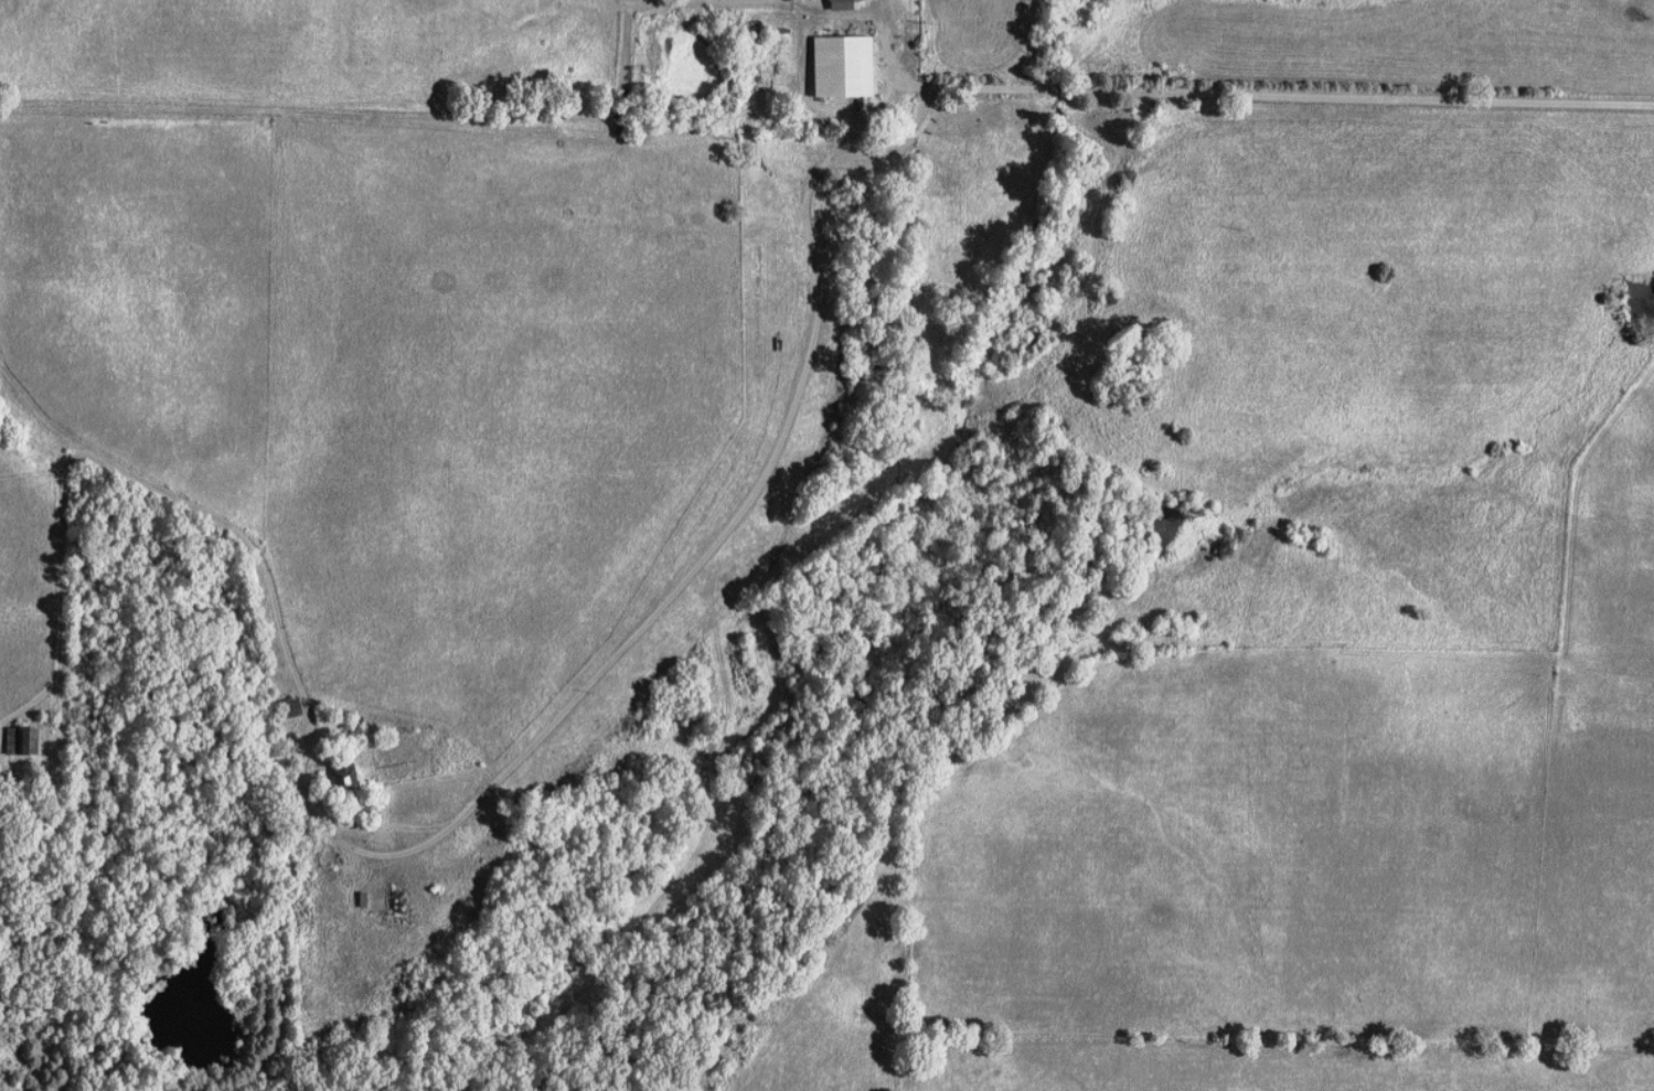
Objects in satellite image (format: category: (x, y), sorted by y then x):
road: (777, 0)
building: (842, 4)
building: (843, 66)
road: (308, 107)
road: (815, 181)
road: (35, 707)
building: (345, 777)

